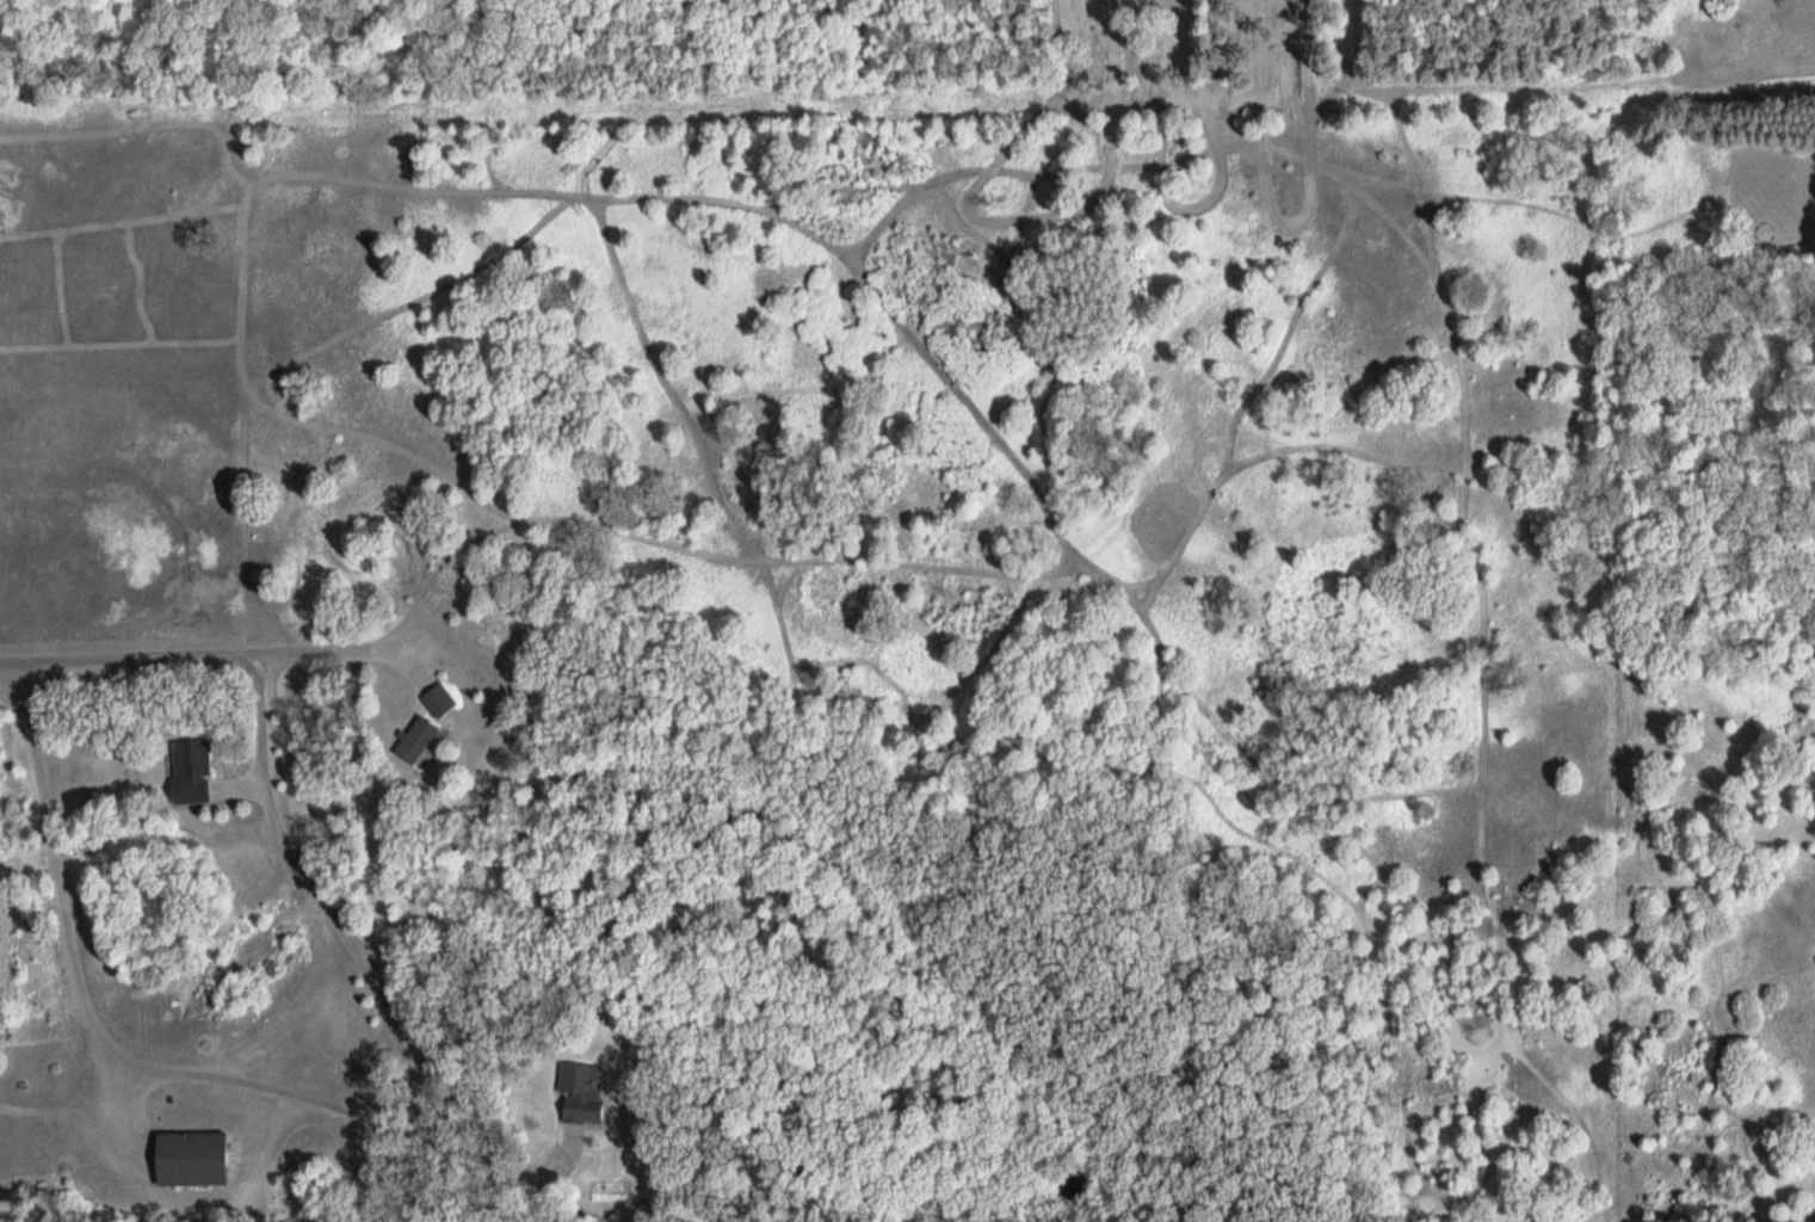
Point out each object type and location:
road: (739, 592)
building: (444, 701)
building: (422, 741)
building: (195, 772)
road: (60, 869)
building: (592, 1098)
building: (197, 1158)

